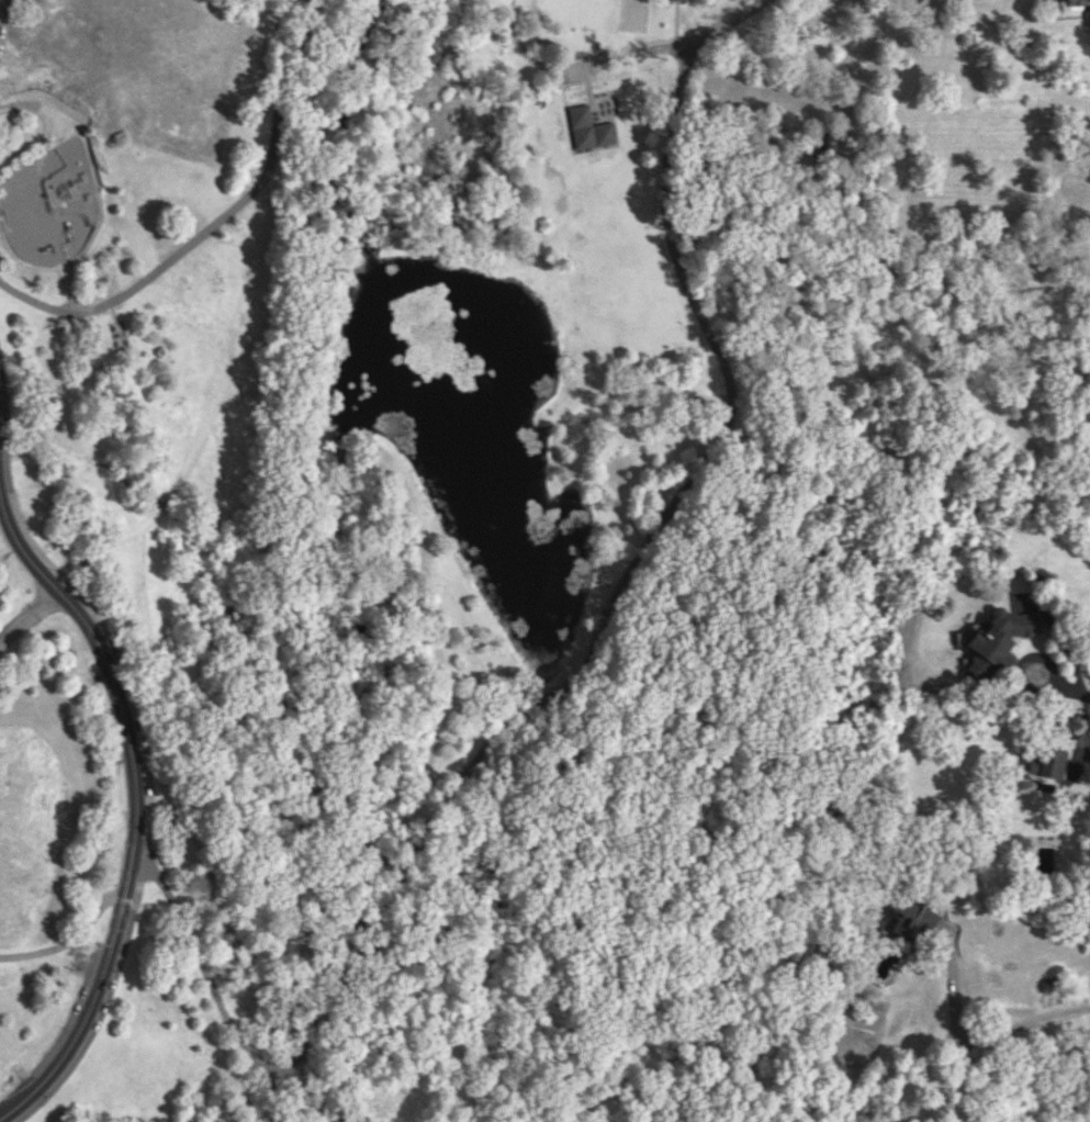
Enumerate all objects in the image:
road: (308, 1)
building: (1075, 2)
park: (632, 15)
road: (730, 21)
road: (578, 60)
building: (588, 128)
road: (212, 220)
park: (494, 512)
road: (27, 613)
building: (1000, 635)
road: (1054, 670)
road: (530, 708)
building: (1079, 748)
building: (1050, 760)
road: (134, 810)
road: (122, 898)
building: (911, 917)
road: (67, 943)
road: (982, 1032)

